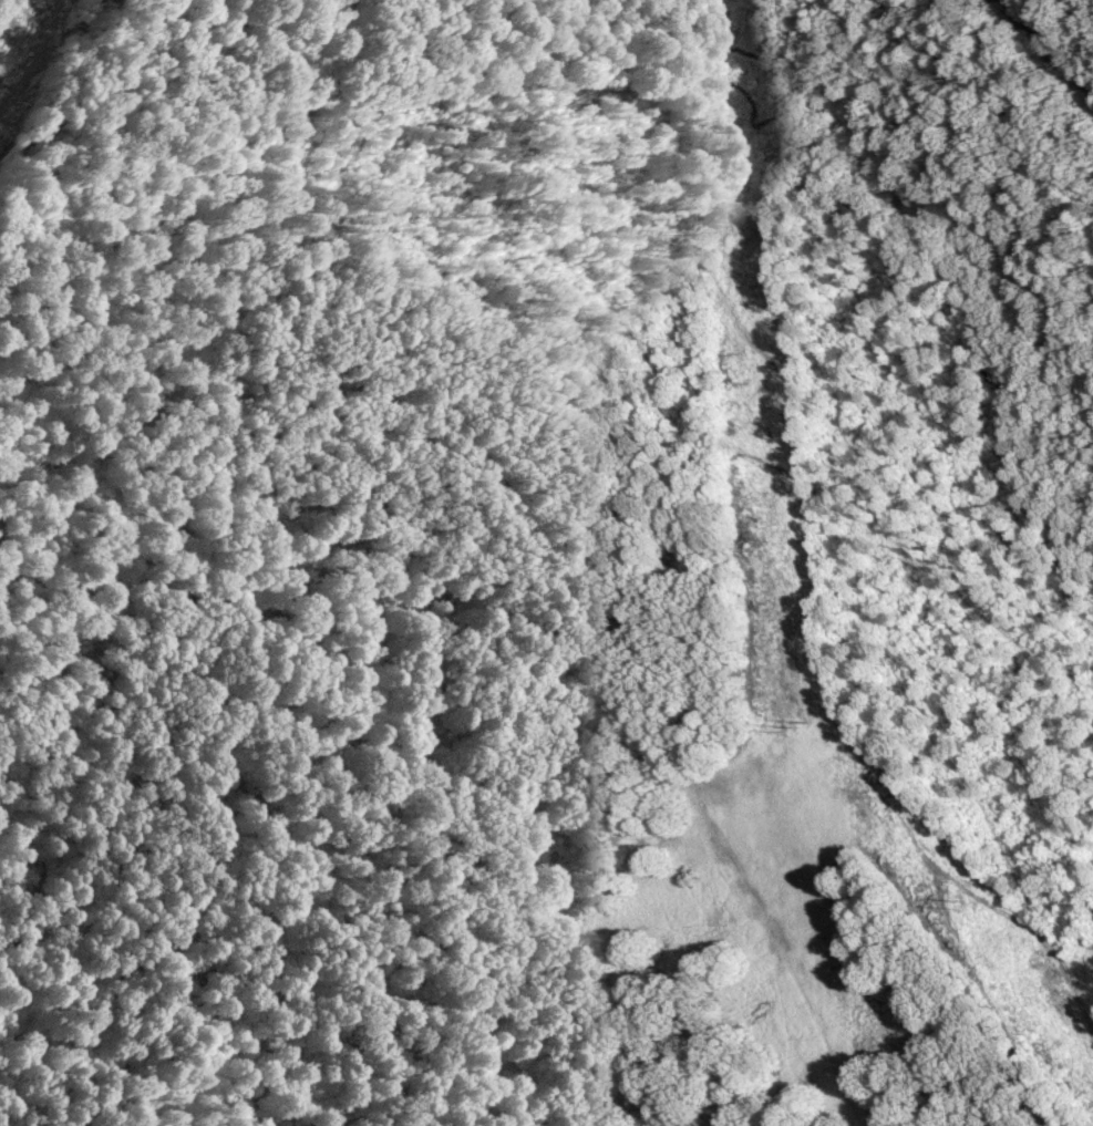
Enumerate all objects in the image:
road: (1058, 42)

